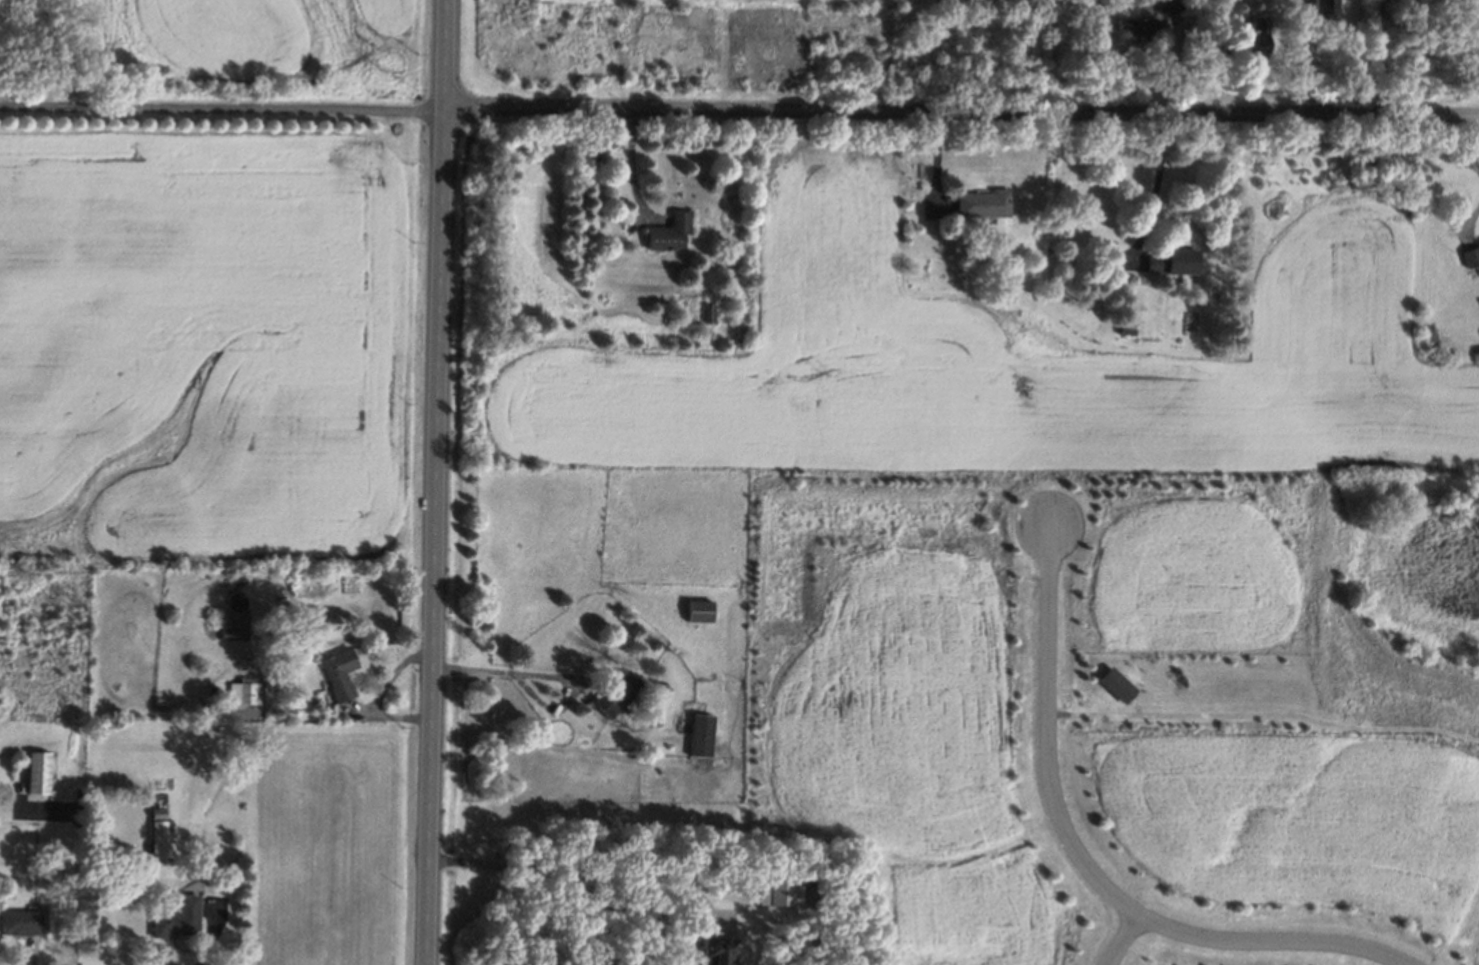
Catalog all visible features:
building: (1166, 5)
building: (1325, 8)
building: (1138, 26)
building: (1252, 40)
road: (222, 110)
road: (961, 110)
road: (1154, 180)
building: (983, 203)
building: (669, 233)
building: (1470, 256)
building: (1173, 261)
building: (709, 313)
road: (434, 482)
building: (699, 612)
building: (237, 634)
road: (491, 668)
building: (339, 672)
building: (1117, 685)
building: (242, 691)
building: (617, 695)
road: (1265, 716)
building: (701, 736)
building: (39, 773)
building: (159, 833)
crop: (331, 846)
road: (1087, 867)
road: (79, 872)
building: (779, 893)
road: (616, 905)
building: (179, 917)
building: (21, 922)
road: (212, 935)
road: (1126, 941)
building: (719, 951)

